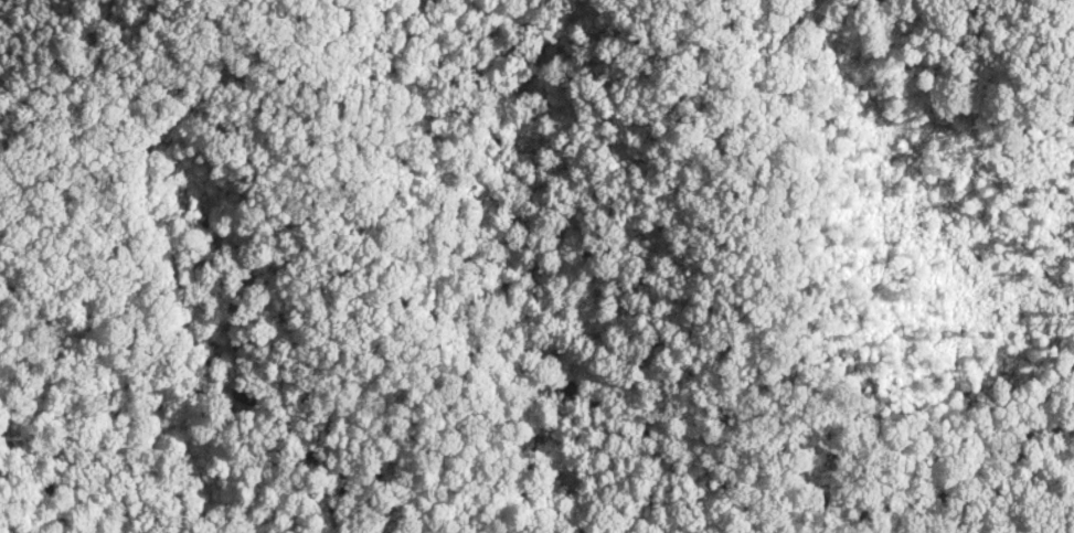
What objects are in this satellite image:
road: (89, 97)
road: (245, 415)
road: (775, 468)

